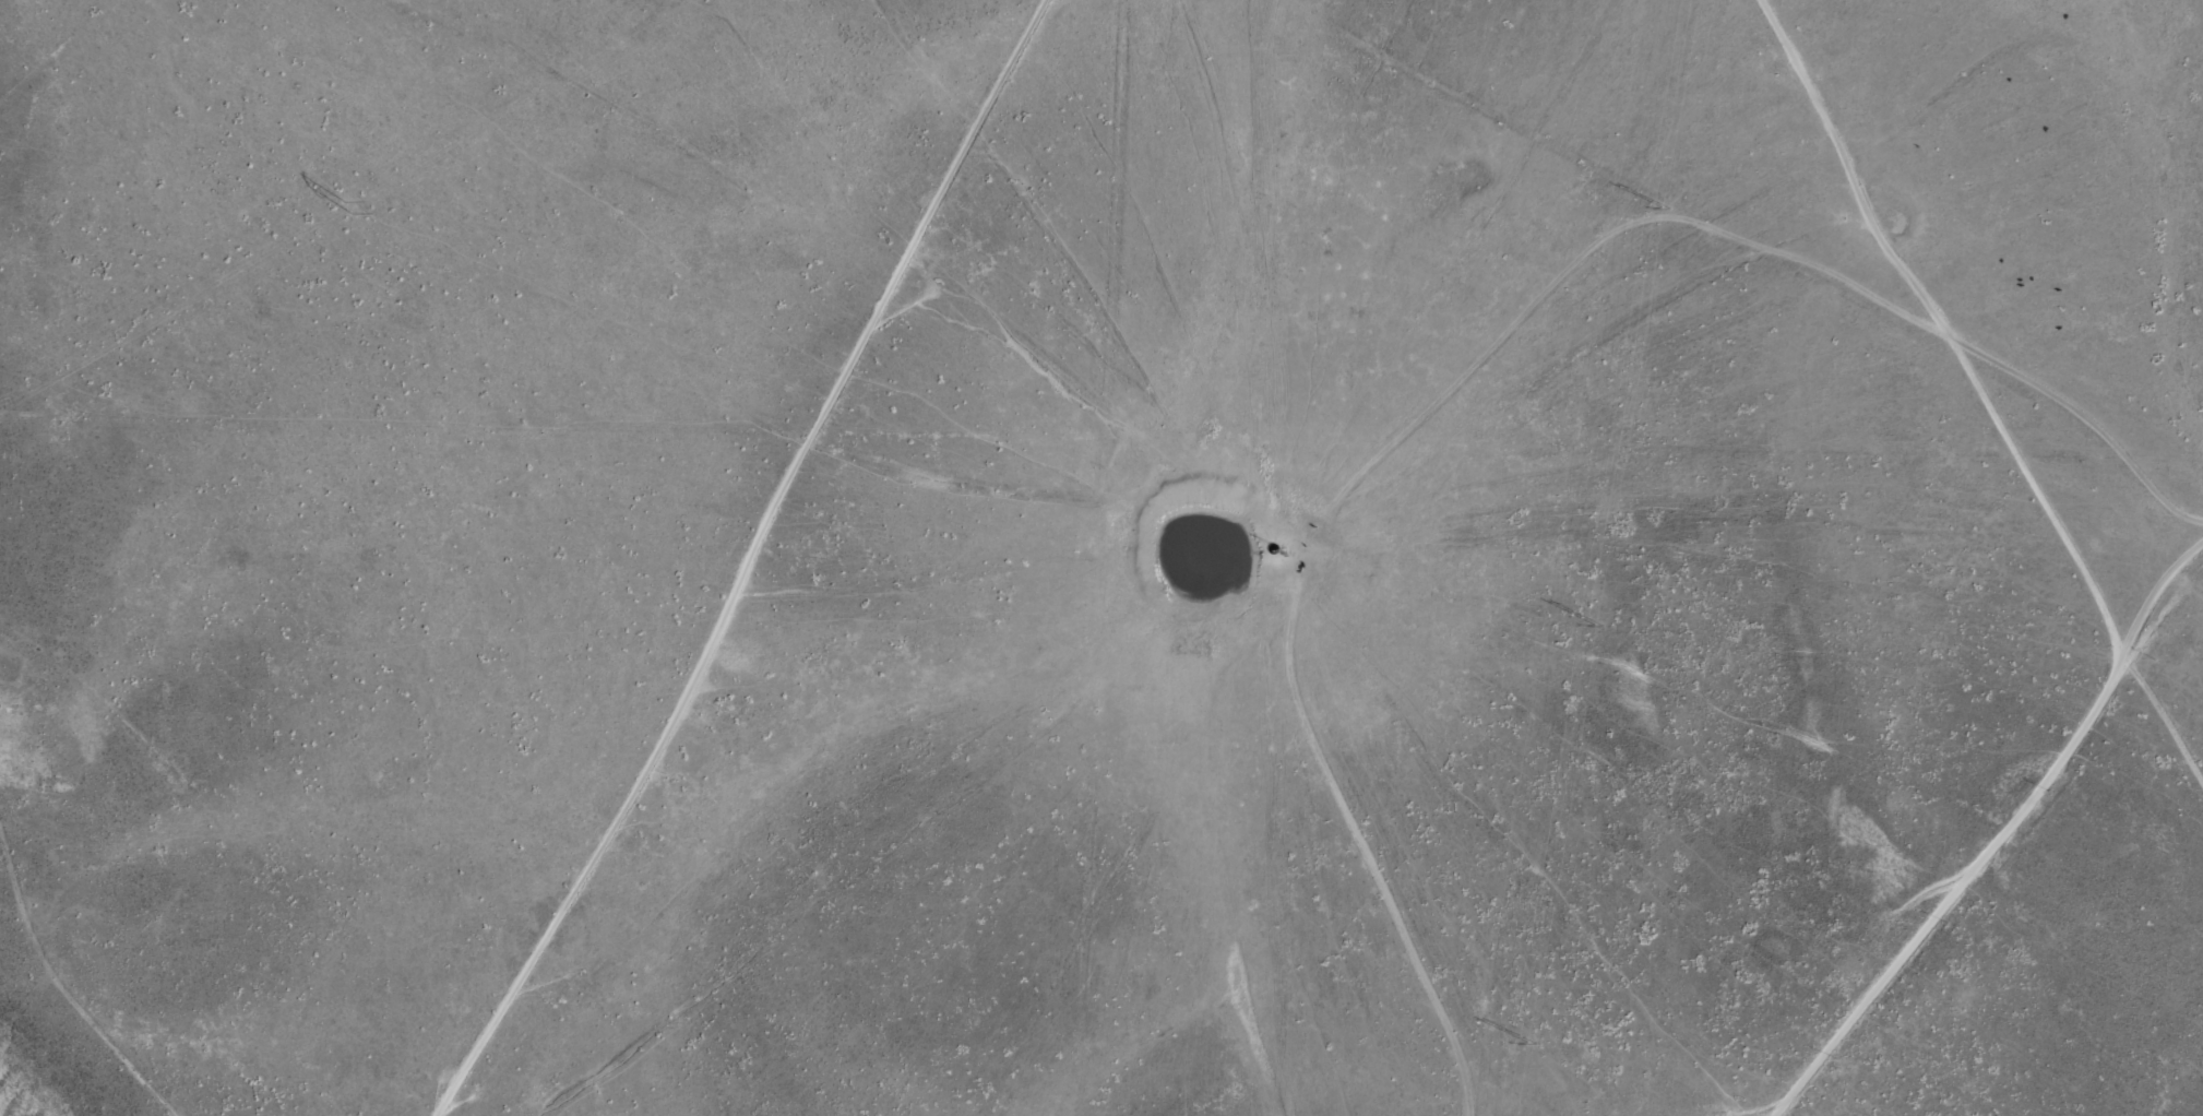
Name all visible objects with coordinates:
power tower: (345, 202)
power tower: (1665, 205)
road: (1747, 242)
power tower: (1598, 625)
road: (1790, 744)
road: (2020, 780)
power tower: (1532, 1040)

